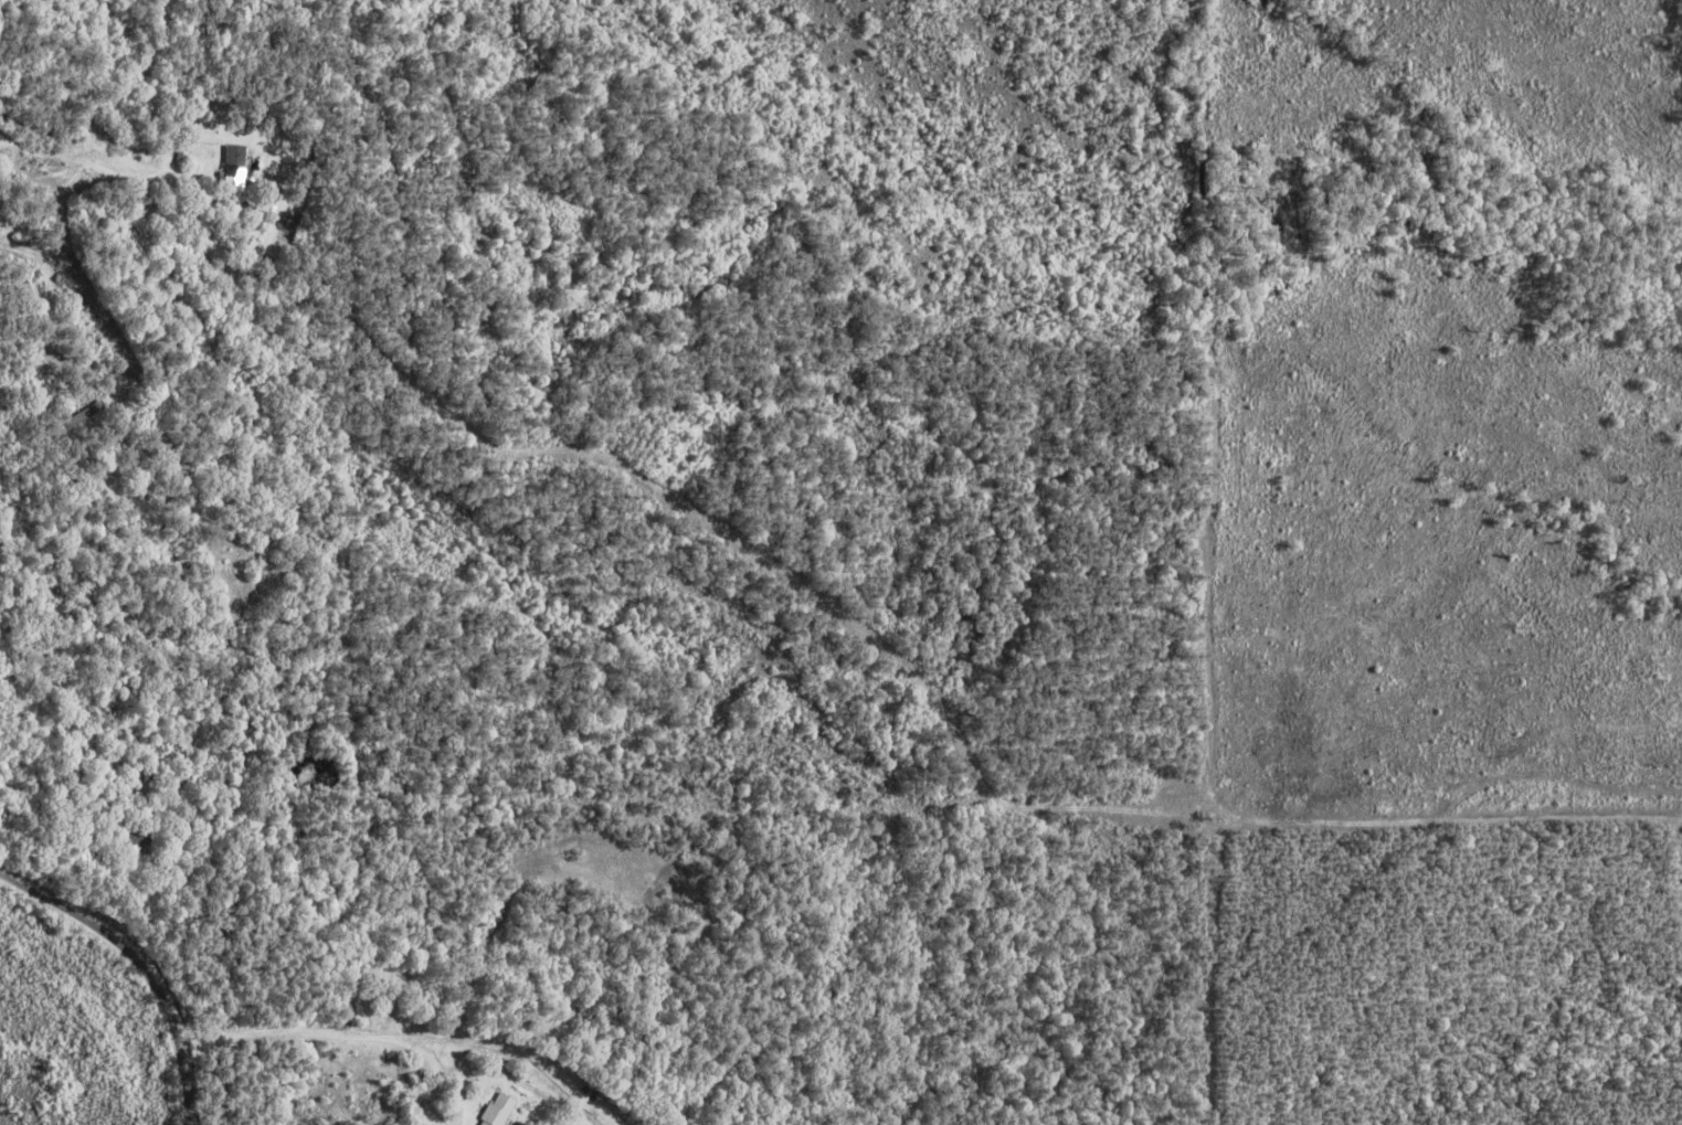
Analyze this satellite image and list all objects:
building: (234, 168)
road: (142, 962)
building: (499, 1110)

